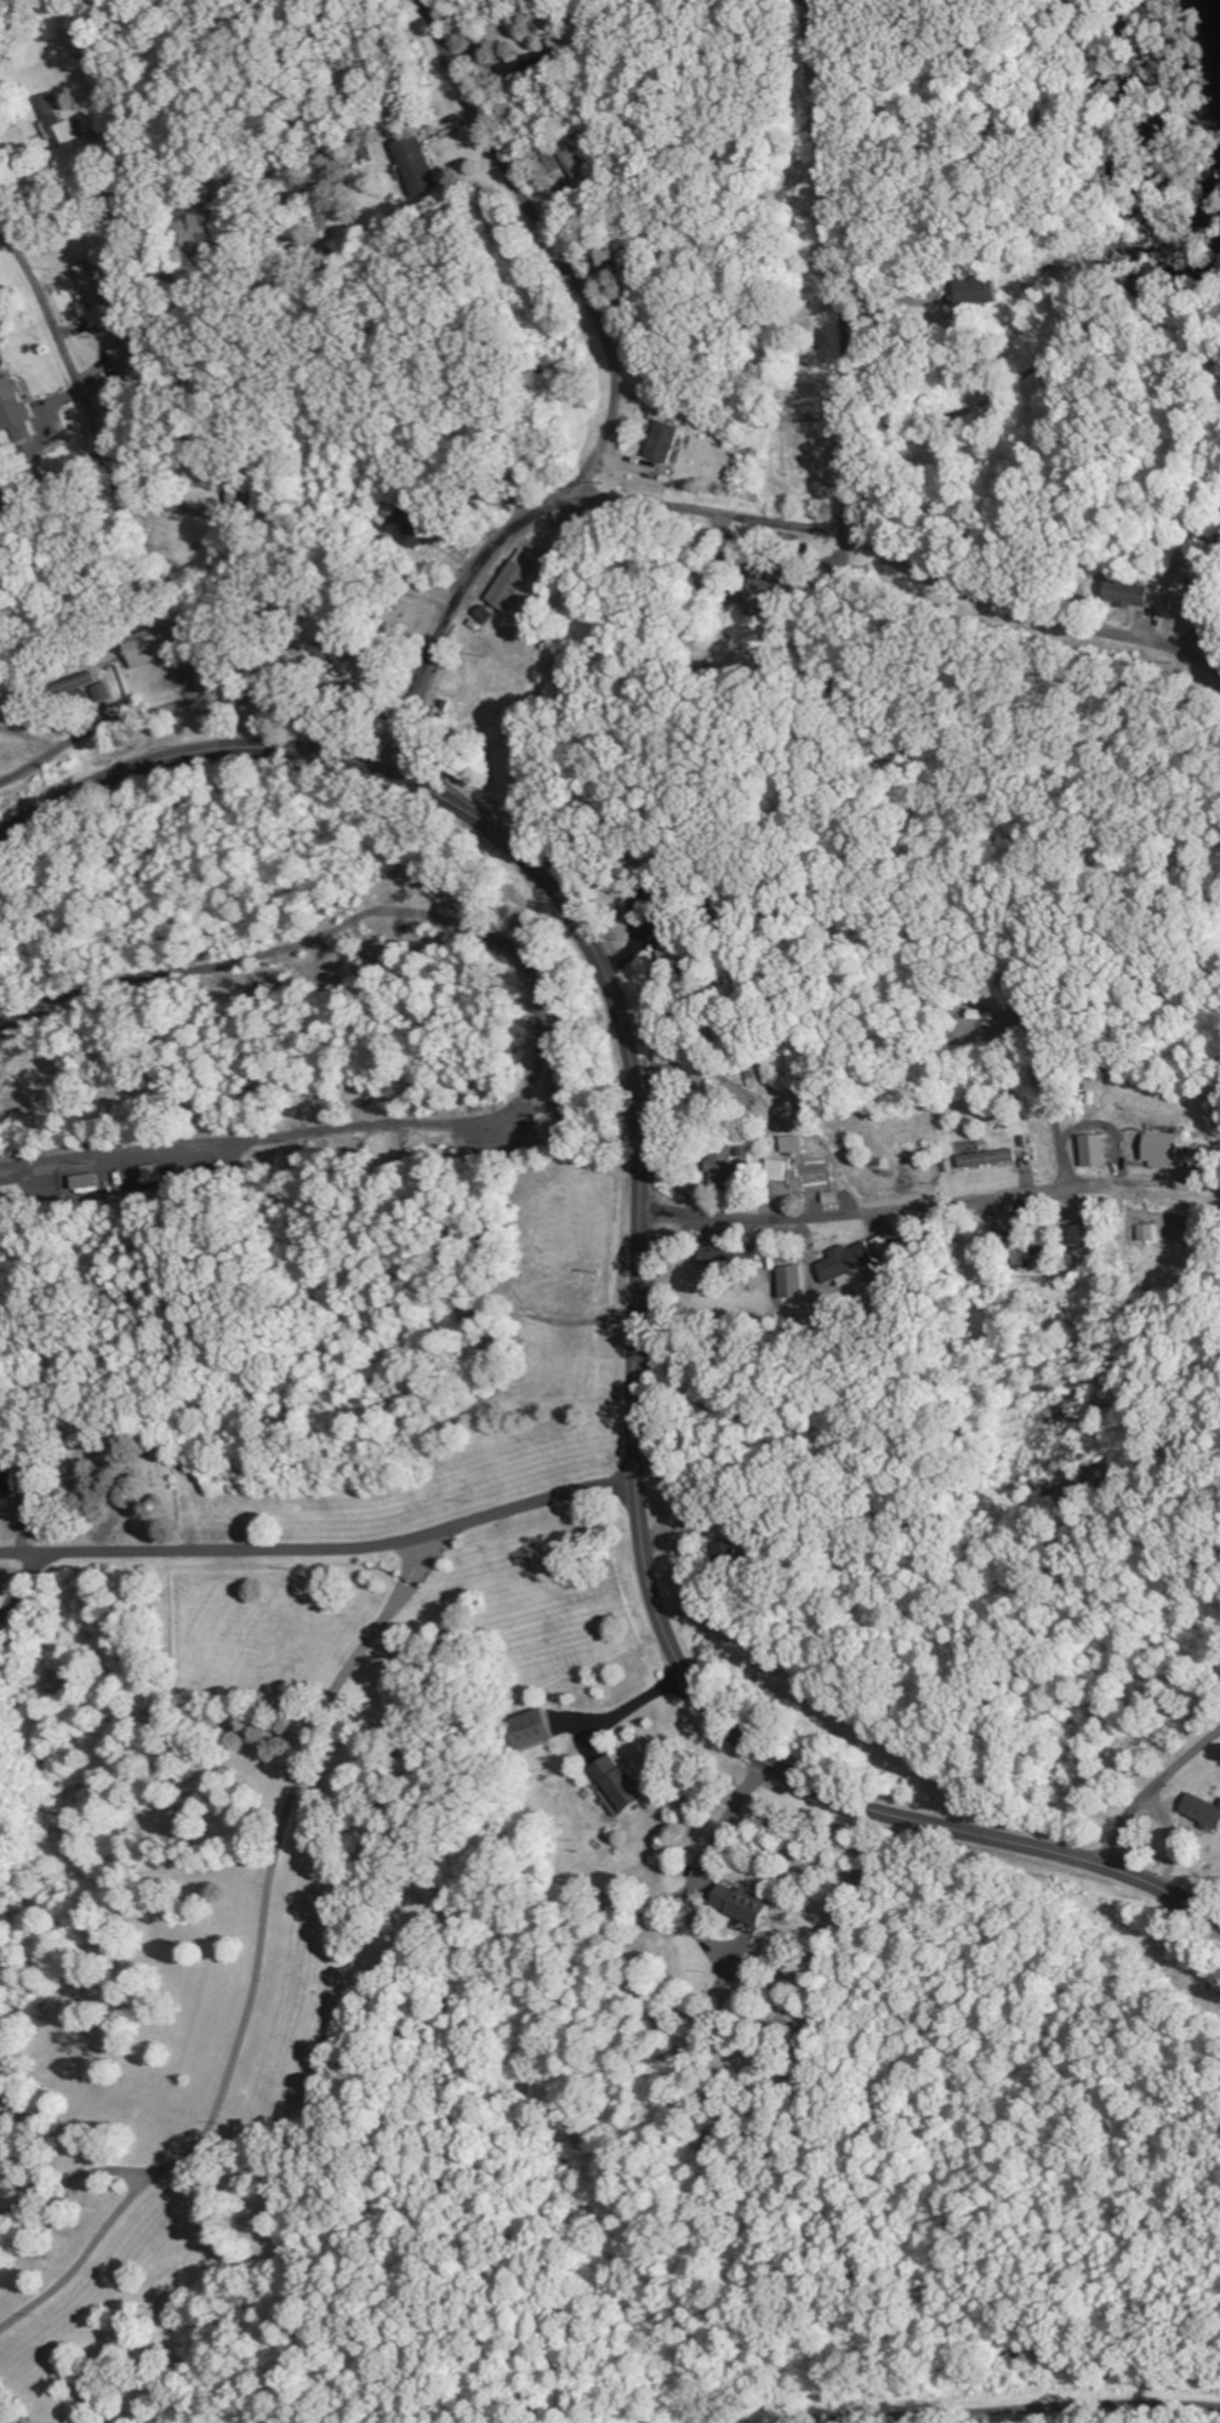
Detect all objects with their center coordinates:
building: (529, 62)
building: (58, 121)
building: (415, 161)
building: (552, 163)
building: (575, 163)
road: (34, 190)
road: (836, 267)
building: (90, 286)
building: (101, 315)
road: (59, 340)
building: (130, 357)
road: (616, 400)
building: (11, 405)
building: (665, 442)
road: (110, 477)
road: (52, 482)
road: (218, 513)
building: (405, 525)
road: (902, 551)
building: (518, 581)
building: (1136, 596)
building: (763, 599)
building: (144, 653)
building: (89, 681)
building: (102, 693)
road: (163, 713)
road: (968, 832)
building: (796, 1145)
building: (1096, 1151)
building: (1164, 1151)
building: (985, 1156)
building: (720, 1168)
road: (1125, 1170)
building: (780, 1171)
building: (87, 1184)
road: (855, 1212)
building: (1151, 1233)
building: (1077, 1238)
building: (1026, 1249)
building: (846, 1268)
road: (640, 1269)
building: (793, 1282)
building: (5, 1481)
road: (1090, 1481)
road: (350, 1546)
road: (24, 1551)
road: (24, 1591)
road: (234, 1596)
building: (529, 1730)
building: (621, 1784)
road: (1156, 1795)
building: (1202, 1811)
road: (701, 1860)
building: (741, 1904)
road: (1015, 2411)

